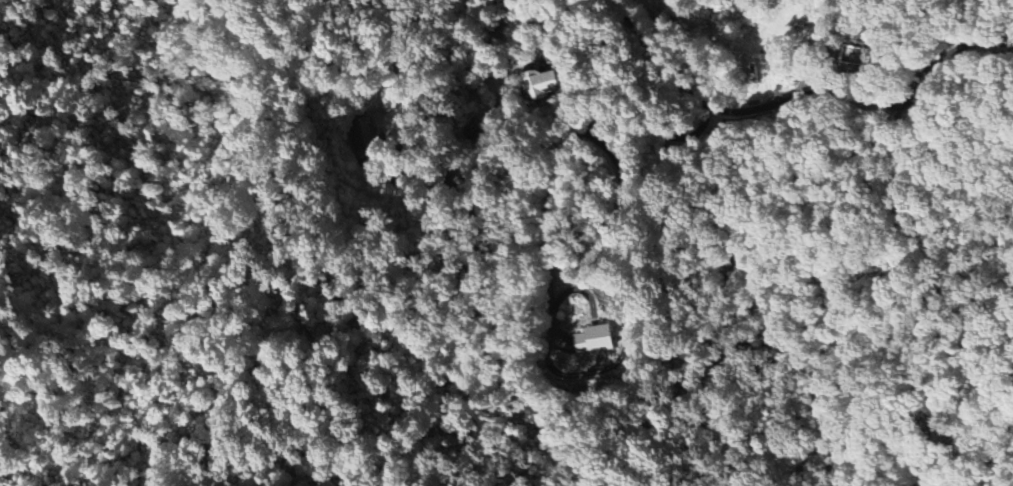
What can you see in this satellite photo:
road: (800, 98)
building: (363, 133)
building: (593, 340)

